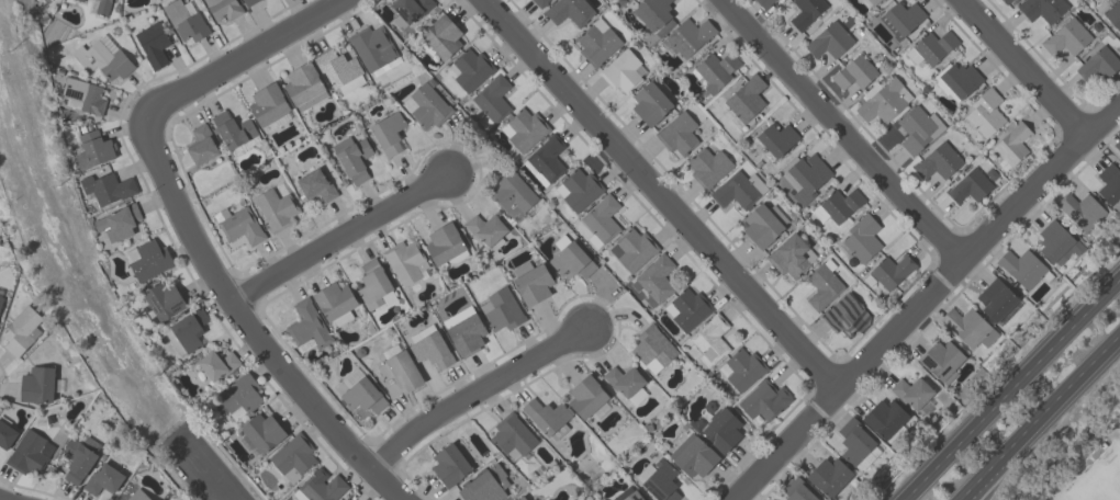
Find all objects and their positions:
building: (81, 0)
building: (620, 0)
building: (873, 1)
building: (1005, 1)
building: (248, 2)
building: (539, 2)
building: (762, 2)
building: (102, 7)
building: (223, 8)
building: (1041, 9)
building: (407, 11)
building: (569, 11)
building: (805, 11)
building: (651, 12)
building: (1112, 13)
building: (900, 19)
building: (184, 21)
building: (688, 36)
building: (440, 37)
building: (1065, 37)
building: (829, 41)
building: (596, 42)
building: (152, 44)
building: (931, 47)
building: (373, 48)
building: (102, 57)
road: (244, 59)
building: (1098, 63)
road: (1027, 67)
building: (469, 68)
building: (339, 70)
building: (715, 70)
building: (621, 71)
building: (854, 71)
building: (957, 81)
building: (303, 86)
building: (82, 95)
building: (492, 100)
building: (744, 101)
building: (884, 102)
building: (649, 103)
building: (267, 104)
building: (427, 105)
building: (985, 112)
building: (523, 128)
building: (917, 128)
road: (845, 130)
building: (235, 133)
building: (388, 133)
building: (677, 133)
building: (776, 138)
building: (201, 145)
building: (1011, 145)
building: (1117, 145)
building: (93, 149)
building: (352, 157)
building: (545, 159)
building: (937, 161)
building: (707, 166)
building: (804, 175)
building: (1109, 183)
building: (971, 184)
building: (315, 185)
building: (107, 187)
building: (578, 189)
building: (739, 190)
building: (512, 193)
road: (664, 194)
building: (836, 205)
building: (275, 208)
building: (1079, 209)
building: (601, 220)
building: (117, 221)
building: (238, 224)
building: (763, 224)
building: (485, 228)
building: (862, 237)
road: (339, 238)
building: (1056, 241)
building: (445, 245)
building: (632, 249)
building: (791, 255)
building: (570, 258)
building: (147, 259)
building: (406, 261)
building: (1021, 266)
building: (891, 270)
building: (654, 279)
building: (531, 282)
building: (822, 284)
building: (373, 285)
building: (0, 298)
building: (164, 299)
building: (995, 299)
road: (926, 302)
building: (335, 303)
building: (688, 308)
building: (501, 309)
building: (844, 315)
building: (307, 325)
building: (968, 327)
road: (246, 328)
building: (20, 330)
building: (186, 332)
building: (466, 334)
building: (710, 338)
building: (652, 348)
building: (430, 350)
building: (941, 360)
building: (216, 364)
building: (742, 367)
building: (397, 373)
building: (626, 383)
building: (36, 385)
road: (1010, 388)
building: (360, 391)
road: (475, 393)
building: (910, 393)
building: (238, 396)
building: (587, 398)
building: (761, 399)
road: (1035, 413)
building: (547, 417)
building: (884, 417)
building: (717, 429)
building: (259, 433)
building: (7, 434)
building: (511, 434)
building: (854, 441)
building: (30, 453)
building: (692, 455)
building: (79, 457)
building: (292, 457)
building: (449, 465)
road: (205, 471)
building: (828, 476)
building: (102, 479)
building: (661, 481)
road: (983, 481)
building: (484, 485)
building: (318, 487)
building: (796, 490)
building: (137, 496)
building: (632, 496)
building: (520, 498)
building: (343, 499)
building: (344, 499)

